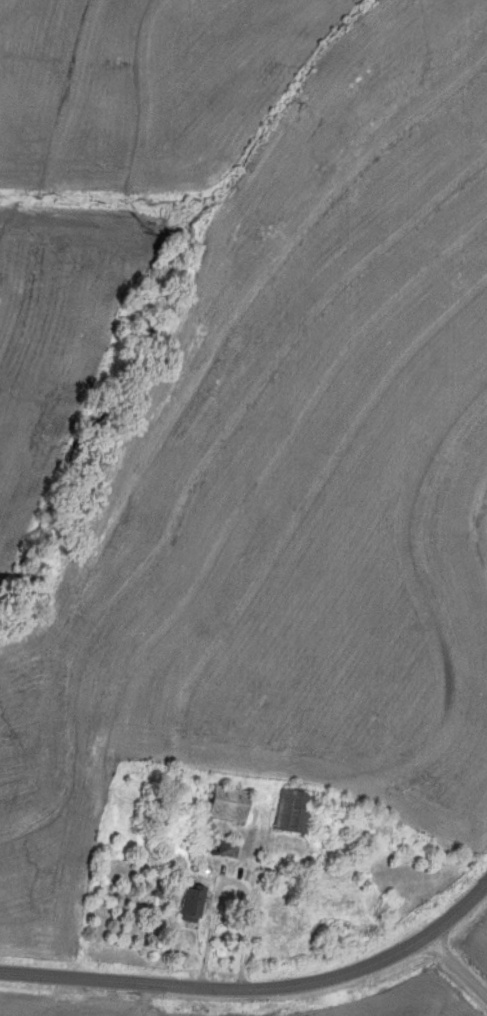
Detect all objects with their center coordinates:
building: (223, 804)
building: (289, 812)
building: (149, 818)
building: (224, 849)
road: (225, 879)
building: (187, 904)
road: (457, 966)
road: (258, 992)

